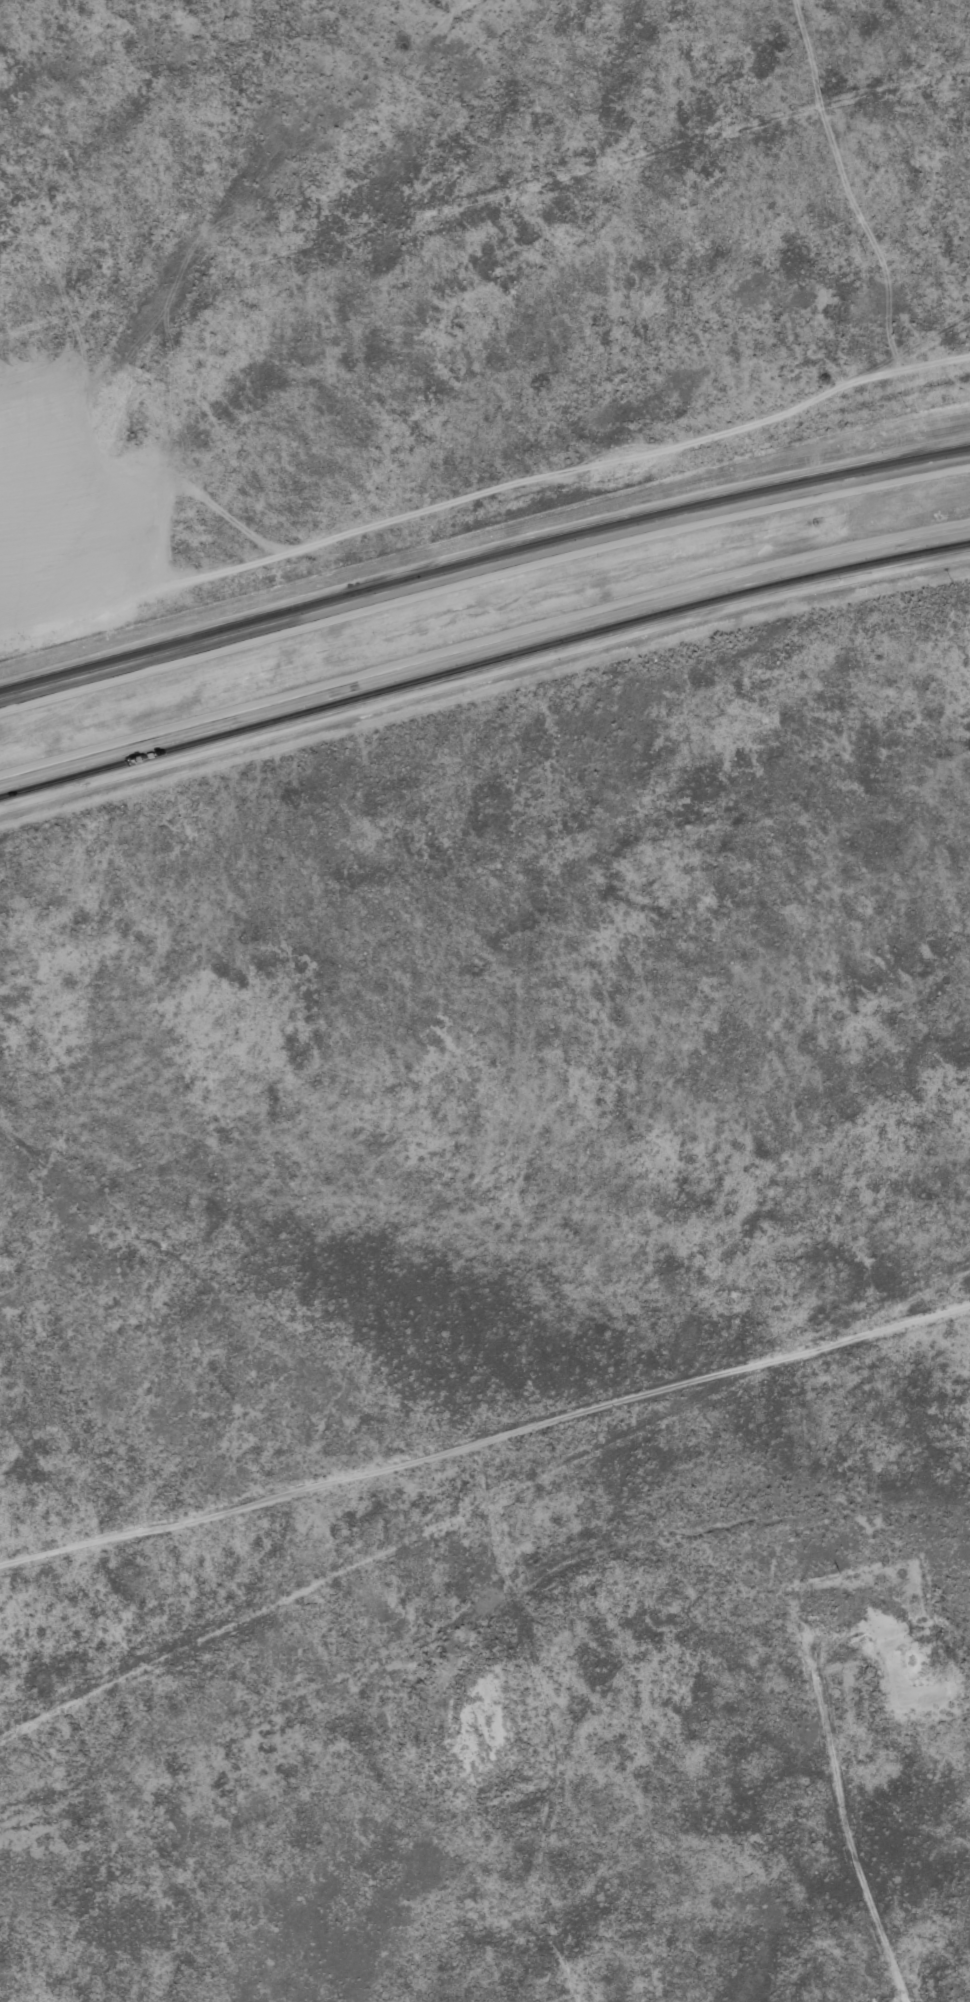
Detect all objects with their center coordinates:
road: (485, 230)
road: (482, 567)
road: (483, 656)
road: (485, 1495)

